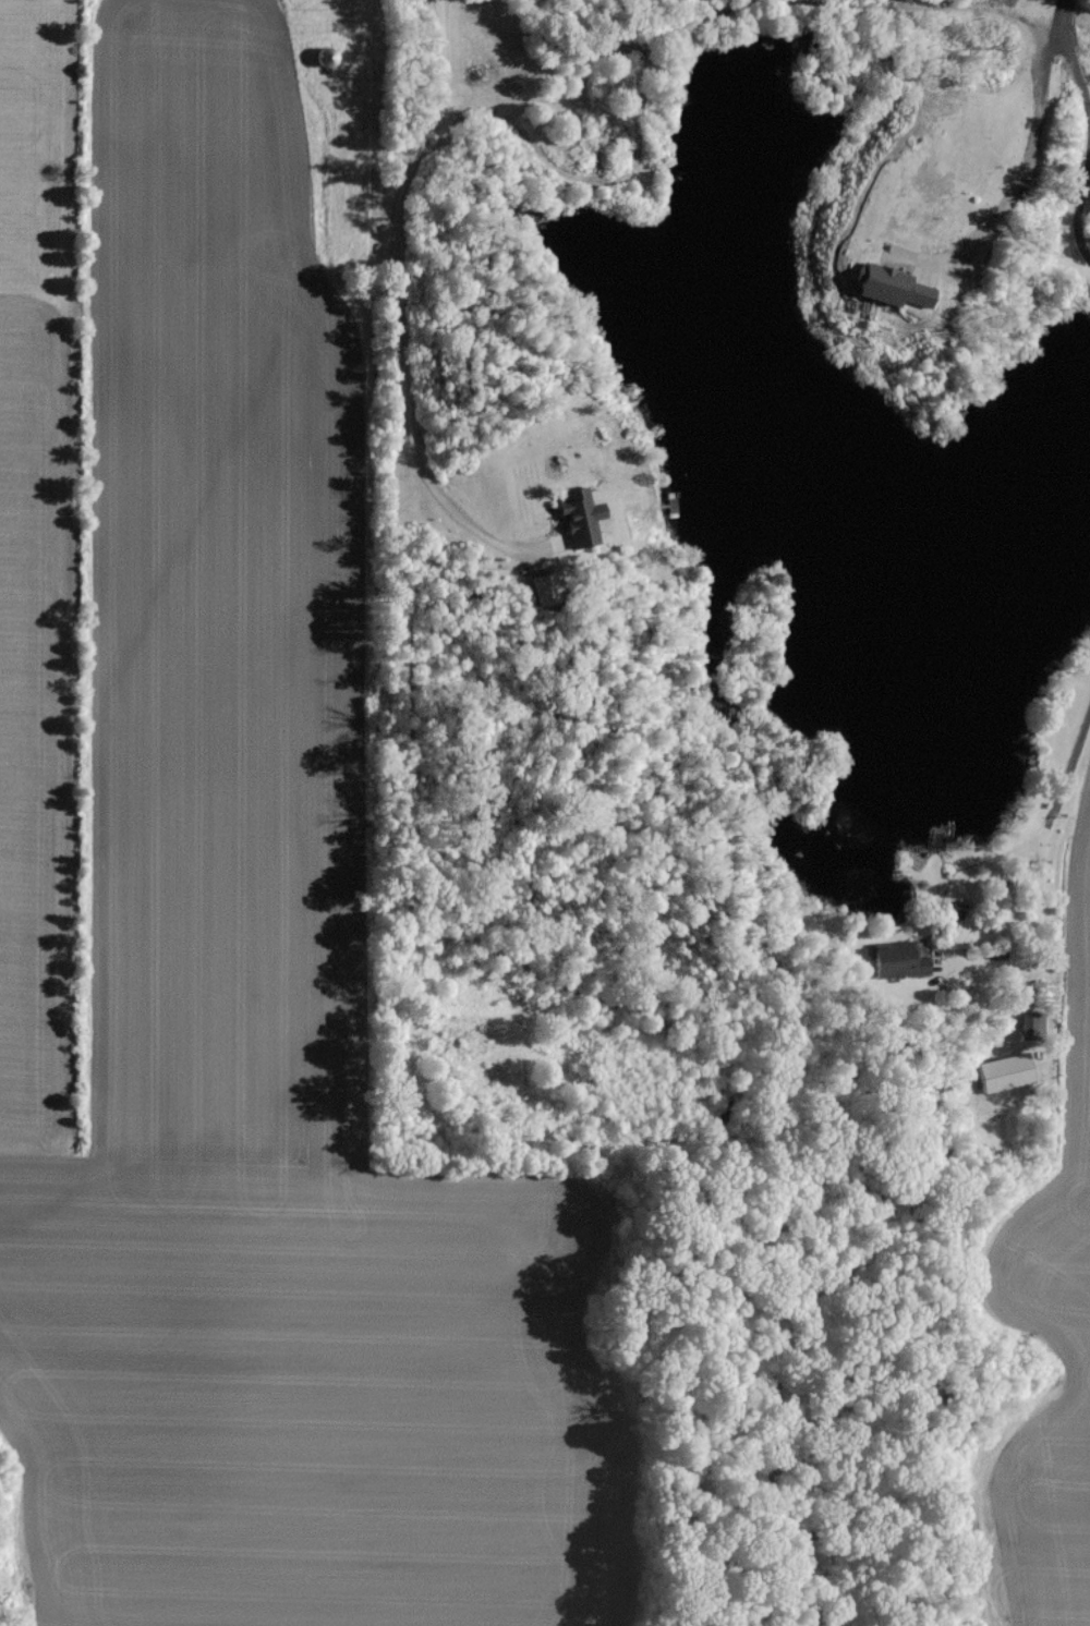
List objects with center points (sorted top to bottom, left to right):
road: (1066, 49)
road: (1025, 168)
road: (1079, 209)
building: (905, 287)
road: (398, 306)
building: (583, 515)
building: (547, 588)
road: (1042, 873)
building: (901, 958)
building: (1031, 1019)
building: (1005, 1070)

